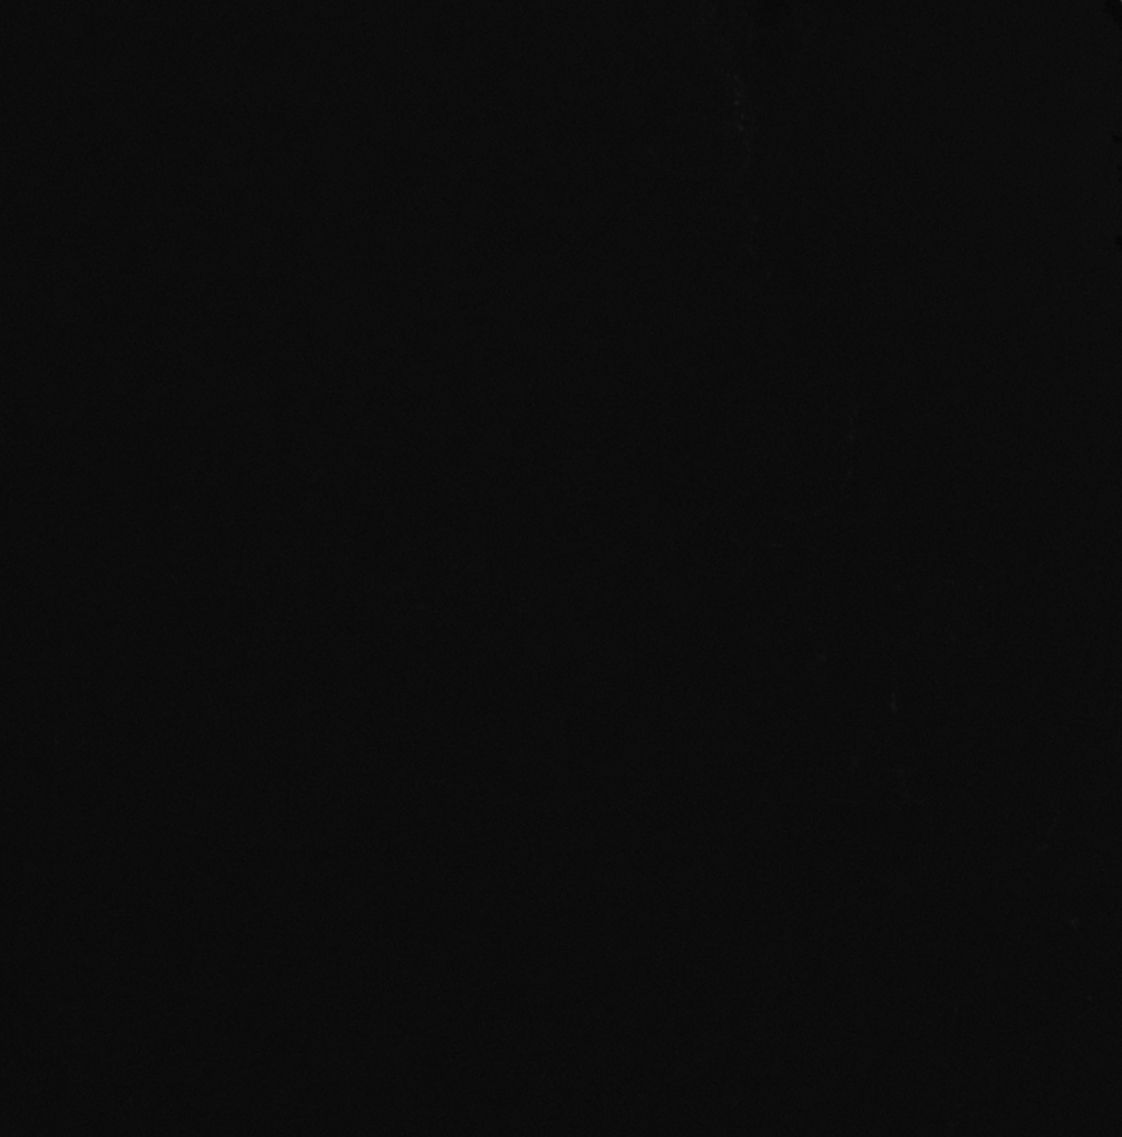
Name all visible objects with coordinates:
river: (345, 568)

